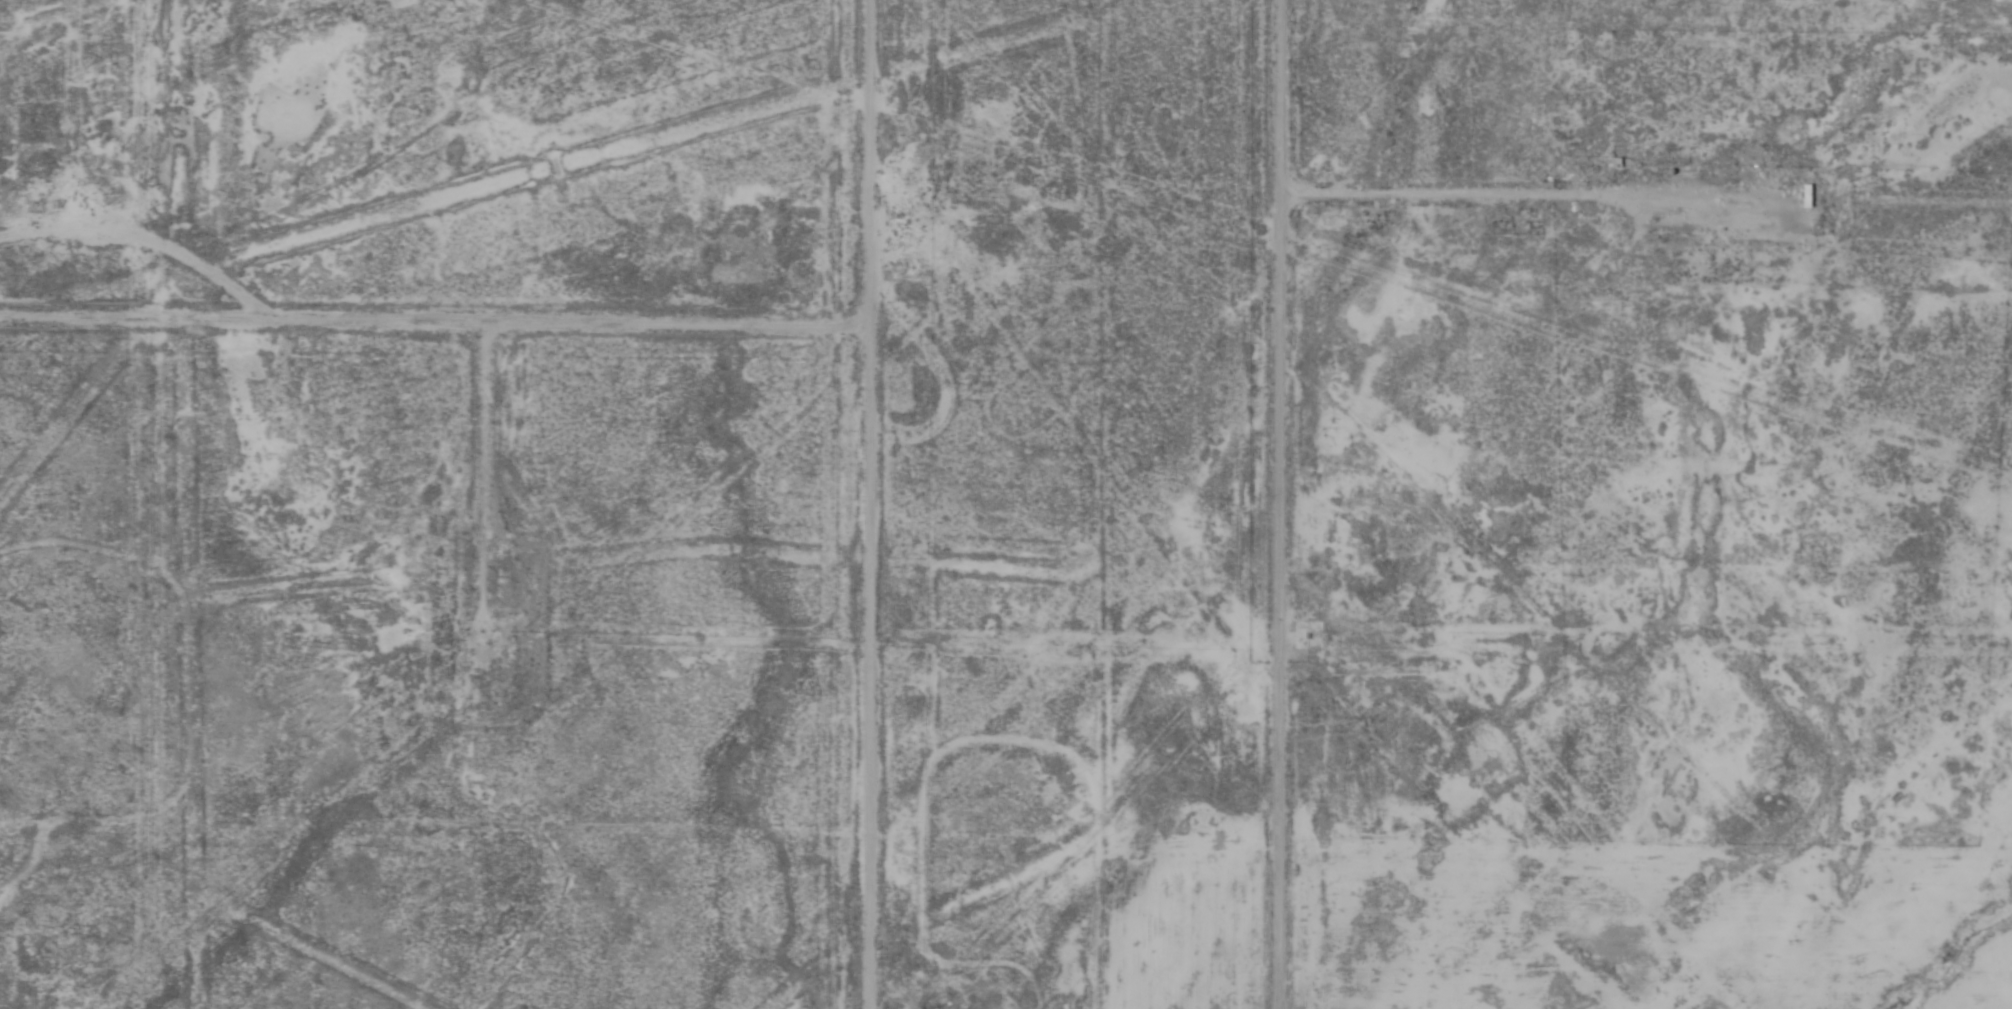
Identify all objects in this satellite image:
building: (1807, 196)
road: (1650, 204)
road: (434, 325)
road: (867, 504)
road: (1285, 504)

